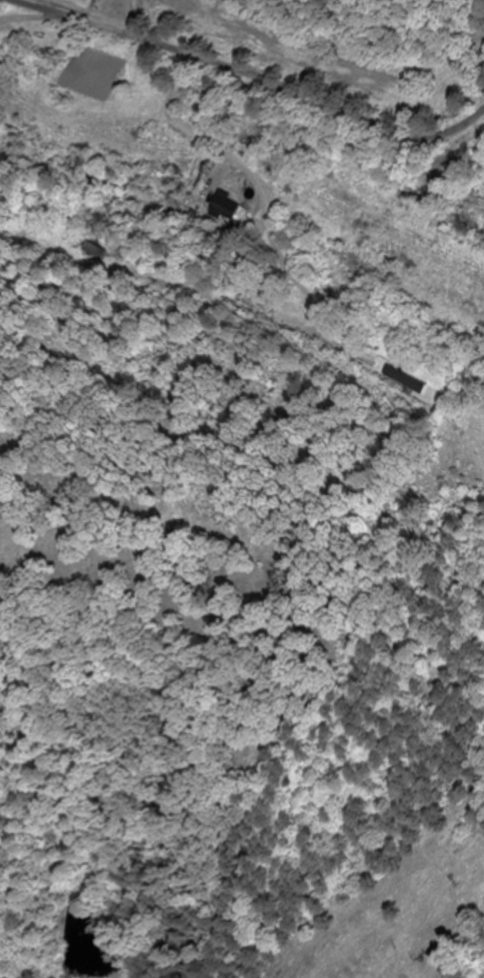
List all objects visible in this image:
road: (253, 76)
road: (234, 161)
building: (101, 252)

